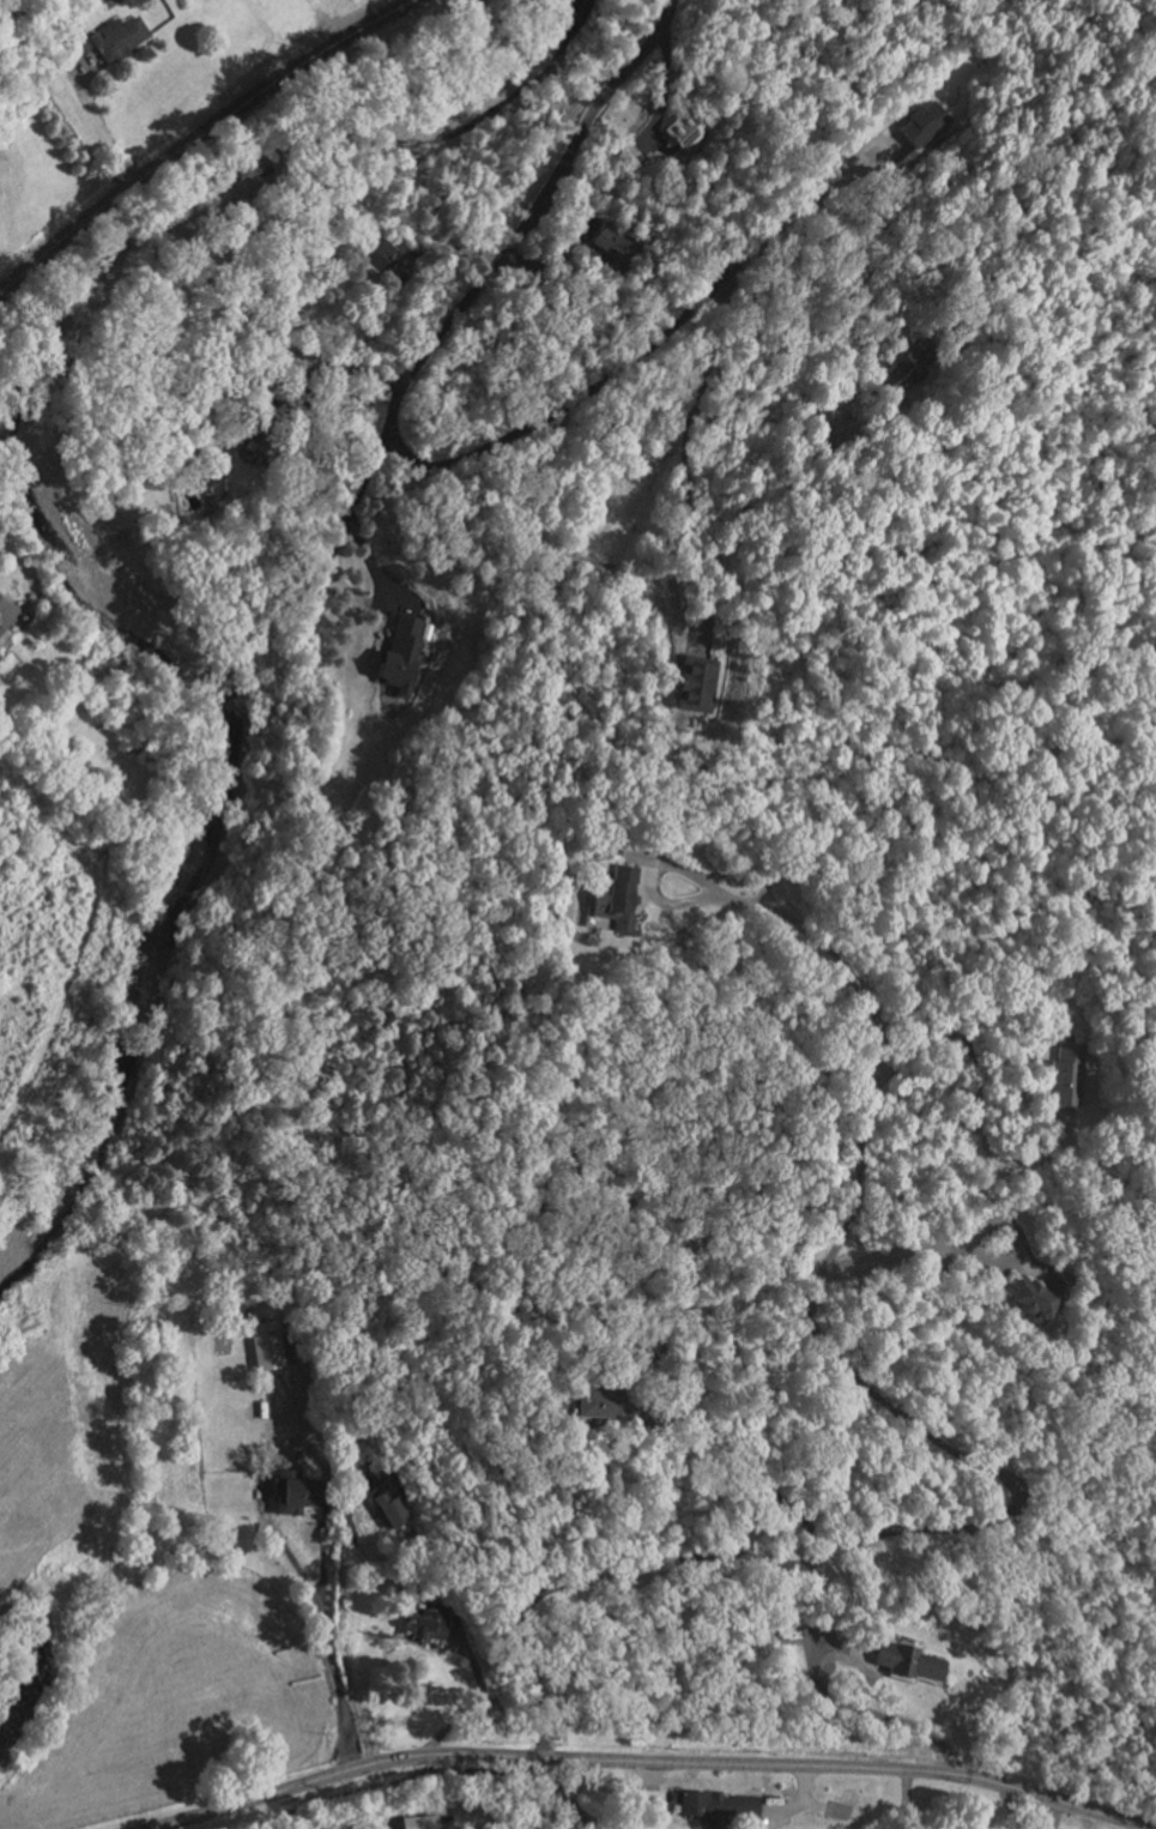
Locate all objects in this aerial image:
building: (116, 37)
building: (71, 47)
road: (101, 133)
building: (677, 134)
road: (193, 143)
road: (344, 366)
building: (895, 374)
building: (253, 447)
road: (403, 448)
road: (686, 451)
road: (353, 508)
building: (399, 653)
building: (692, 687)
building: (612, 899)
building: (1066, 1075)
road: (976, 1080)
road: (903, 1247)
building: (1036, 1294)
building: (265, 1345)
building: (601, 1401)
road: (981, 1463)
road: (765, 1483)
building: (297, 1490)
building: (388, 1504)
building: (426, 1623)
road: (340, 1624)
road: (329, 1655)
building: (909, 1662)
road: (859, 1706)
road: (648, 1758)
building: (704, 1806)
building: (417, 1822)

